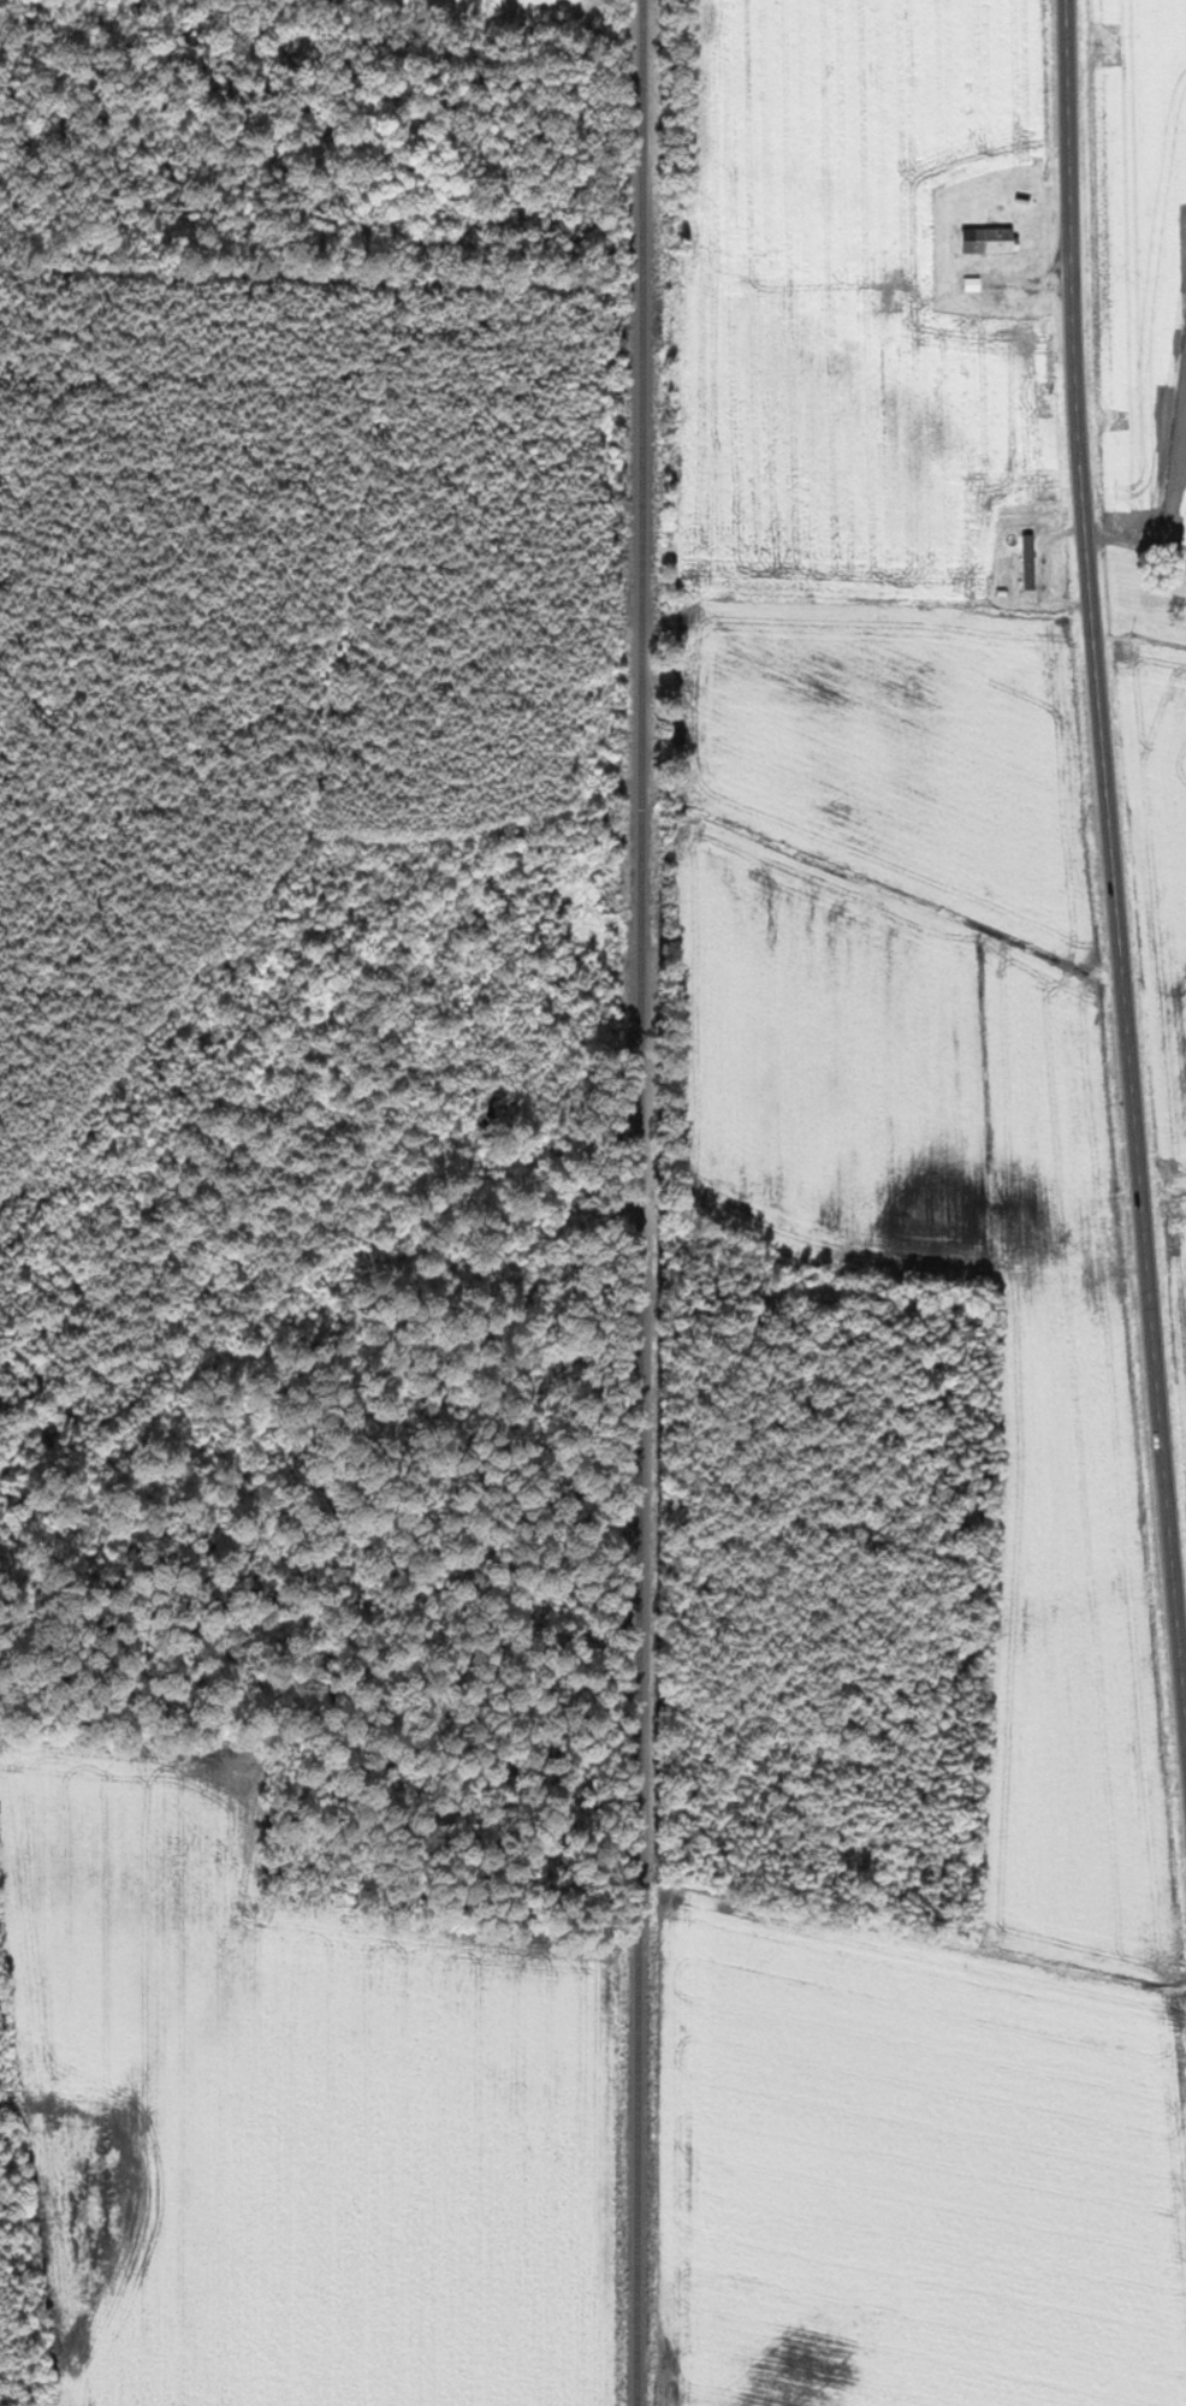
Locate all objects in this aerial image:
building: (992, 239)
road: (1134, 545)
building: (1030, 562)
road: (1110, 865)
railway: (638, 1202)

